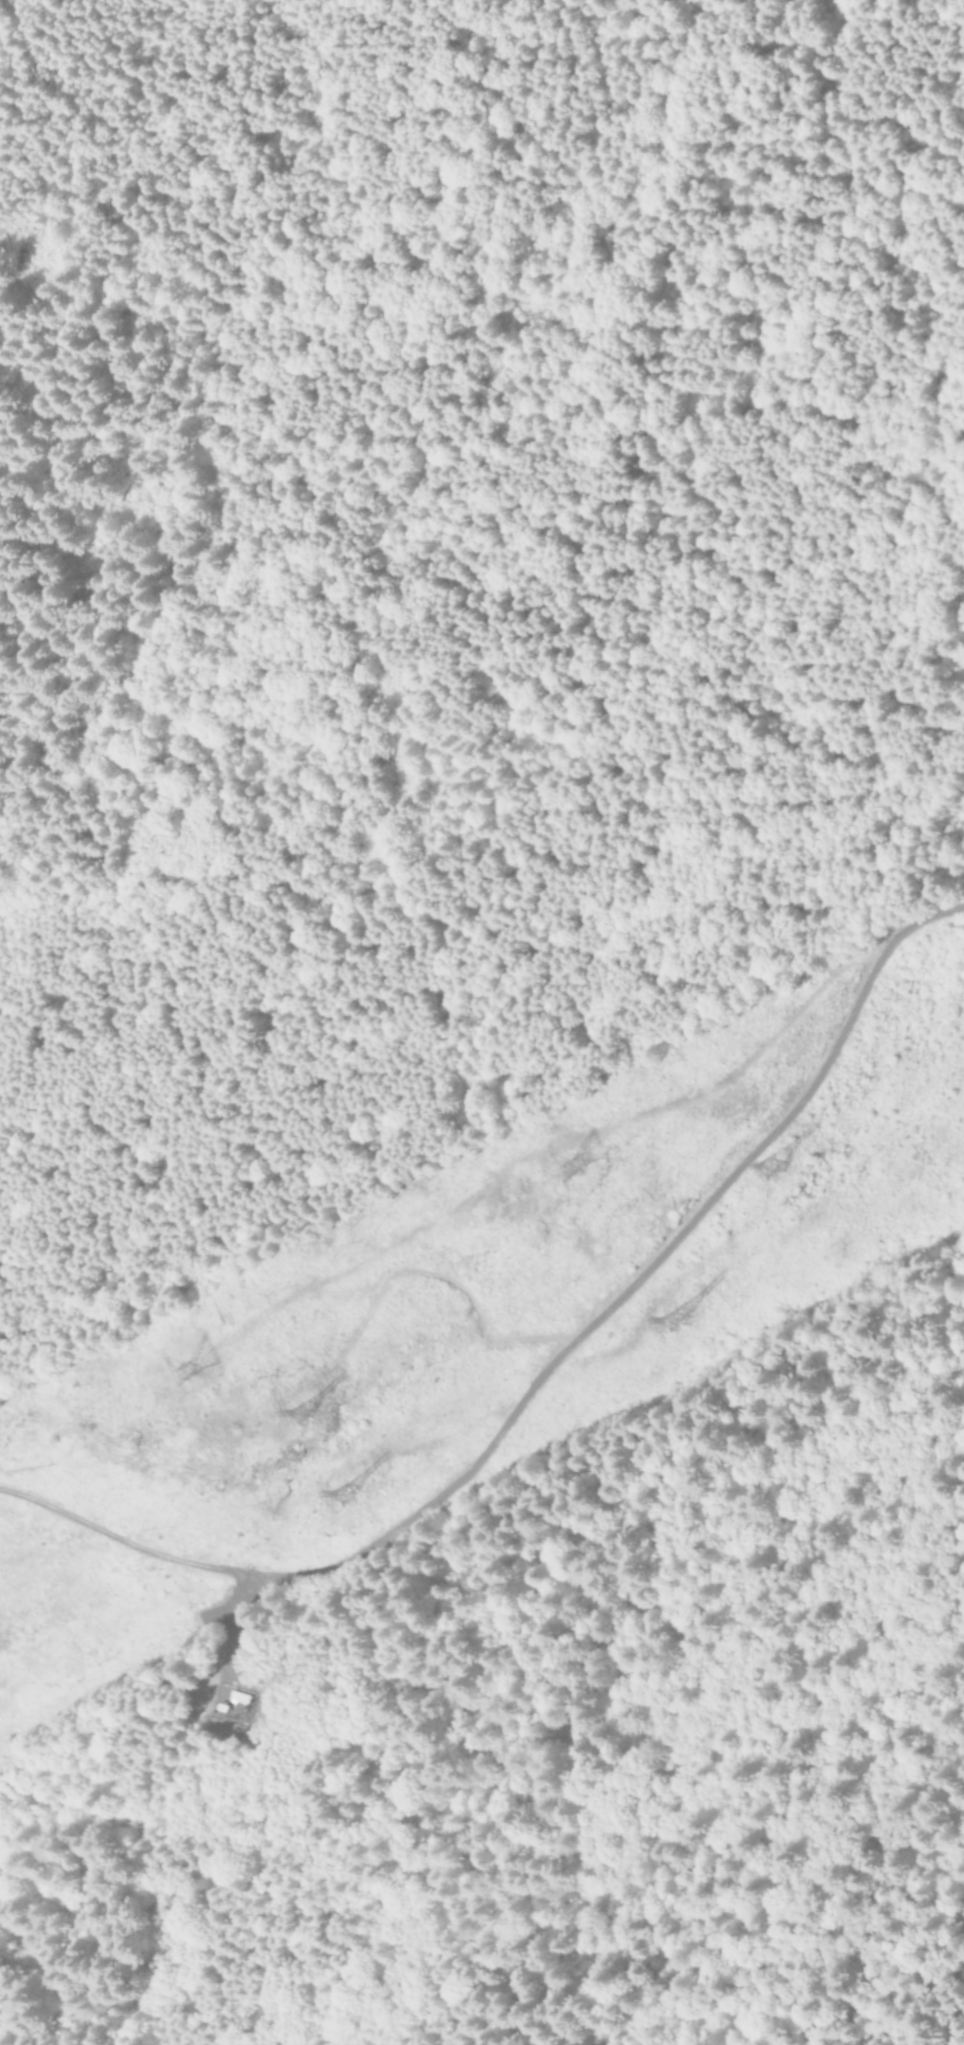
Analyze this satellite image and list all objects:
power tower: (570, 1165)
power tower: (764, 1166)
power tower: (670, 1313)
power tower: (192, 1365)
road: (541, 1371)
power tower: (308, 1414)
power tower: (339, 1492)
road: (953, 2028)

